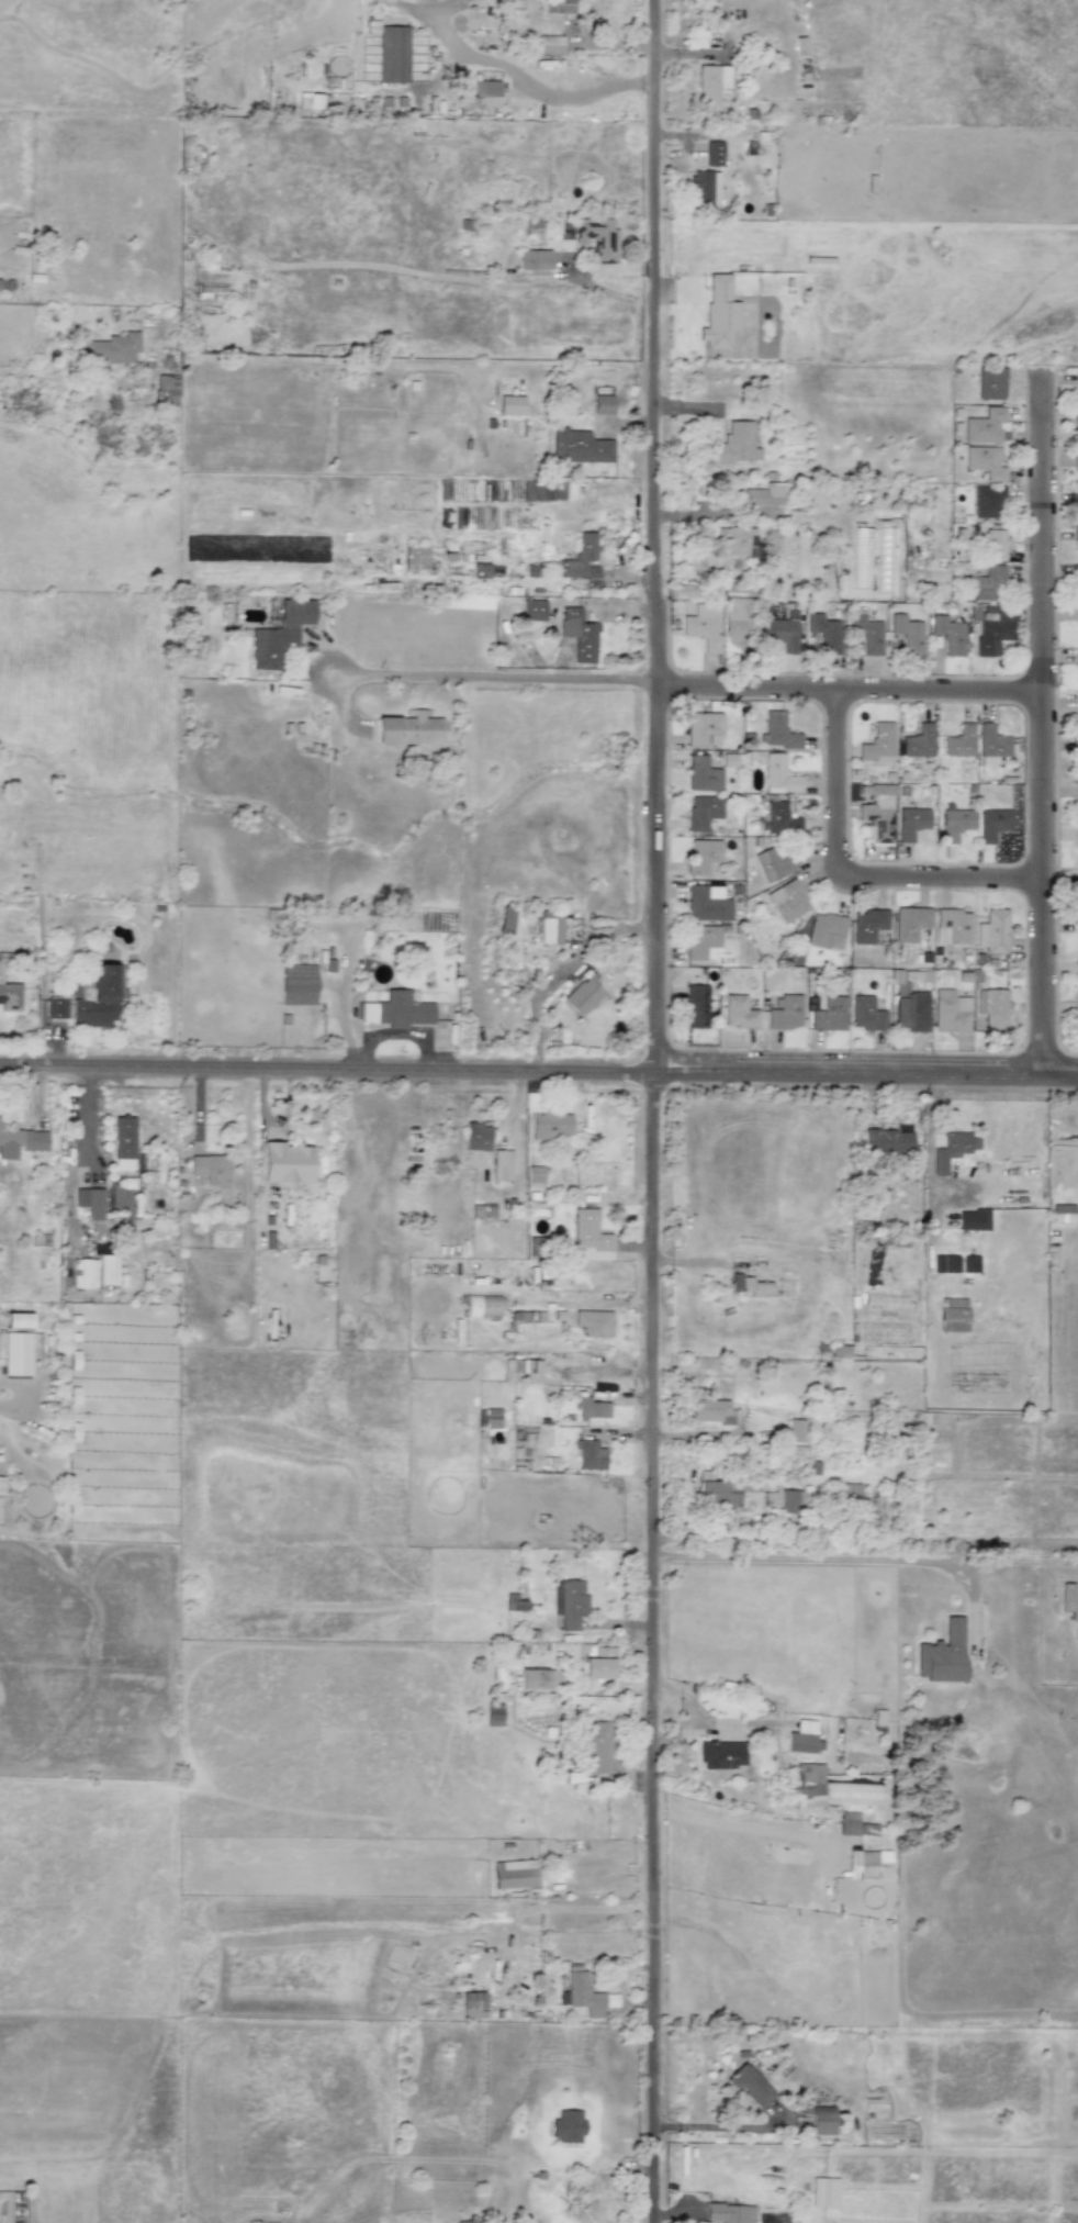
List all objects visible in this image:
building: (557, 7)
building: (549, 45)
building: (393, 54)
building: (711, 86)
building: (485, 93)
building: (714, 154)
building: (704, 188)
building: (566, 230)
building: (597, 237)
building: (535, 259)
building: (719, 312)
building: (113, 348)
building: (991, 383)
building: (167, 390)
building: (603, 404)
building: (510, 405)
building: (1076, 425)
building: (987, 426)
building: (734, 445)
building: (579, 446)
building: (985, 461)
building: (1076, 467)
building: (764, 495)
building: (987, 501)
building: (1077, 504)
building: (1076, 534)
building: (738, 541)
building: (995, 544)
building: (416, 557)
building: (581, 558)
building: (480, 570)
building: (988, 583)
building: (1077, 589)
building: (534, 610)
building: (740, 624)
building: (703, 625)
building: (784, 632)
building: (867, 633)
building: (279, 634)
building: (908, 634)
building: (579, 635)
building: (823, 635)
building: (948, 635)
road: (506, 679)
road: (849, 692)
building: (1077, 706)
building: (409, 728)
road: (1041, 728)
building: (704, 729)
building: (777, 731)
building: (919, 741)
building: (958, 741)
building: (877, 745)
building: (991, 745)
building: (701, 774)
building: (779, 775)
building: (703, 812)
building: (877, 814)
building: (781, 818)
building: (911, 823)
building: (955, 824)
building: (992, 824)
building: (1077, 834)
building: (701, 854)
building: (772, 864)
road: (852, 873)
building: (1076, 880)
building: (787, 900)
building: (707, 903)
building: (507, 920)
building: (909, 923)
building: (867, 925)
building: (952, 926)
building: (551, 929)
building: (826, 931)
building: (993, 931)
building: (701, 941)
building: (1077, 968)
building: (299, 984)
building: (10, 996)
building: (583, 996)
building: (97, 998)
building: (696, 1006)
building: (56, 1008)
building: (992, 1008)
building: (396, 1010)
building: (910, 1012)
building: (950, 1012)
building: (739, 1013)
building: (785, 1013)
building: (865, 1014)
building: (1077, 1014)
building: (829, 1015)
road: (395, 1034)
road: (167, 1071)
road: (706, 1077)
road: (199, 1106)
road: (654, 1110)
road: (87, 1116)
building: (549, 1126)
building: (123, 1137)
building: (476, 1137)
building: (887, 1140)
building: (25, 1142)
building: (952, 1150)
building: (287, 1163)
building: (123, 1164)
building: (501, 1165)
building: (210, 1168)
building: (535, 1174)
road: (930, 1176)
building: (90, 1202)
building: (1063, 1213)
building: (973, 1219)
building: (589, 1237)
building: (969, 1263)
building: (108, 1270)
building: (83, 1274)
building: (750, 1286)
building: (782, 1286)
building: (483, 1306)
building: (953, 1315)
building: (18, 1320)
building: (594, 1322)
building: (18, 1353)
building: (526, 1369)
building: (591, 1408)
building: (711, 1411)
building: (489, 1417)
building: (796, 1430)
building: (589, 1455)
building: (1, 1485)
building: (722, 1492)
building: (785, 1500)
road: (830, 1560)
road: (1042, 1562)
building: (1069, 1600)
building: (514, 1602)
building: (571, 1604)
building: (942, 1655)
building: (593, 1660)
building: (532, 1679)
building: (494, 1714)
building: (801, 1738)
building: (597, 1745)
building: (719, 1754)
building: (808, 1785)
building: (847, 1823)
building: (865, 1863)
building: (515, 1874)
building: (581, 1992)
building: (473, 2004)
building: (750, 2087)
building: (821, 2121)
building: (566, 2125)
road: (722, 2126)
building: (818, 2192)
building: (729, 2213)
building: (462, 2222)

